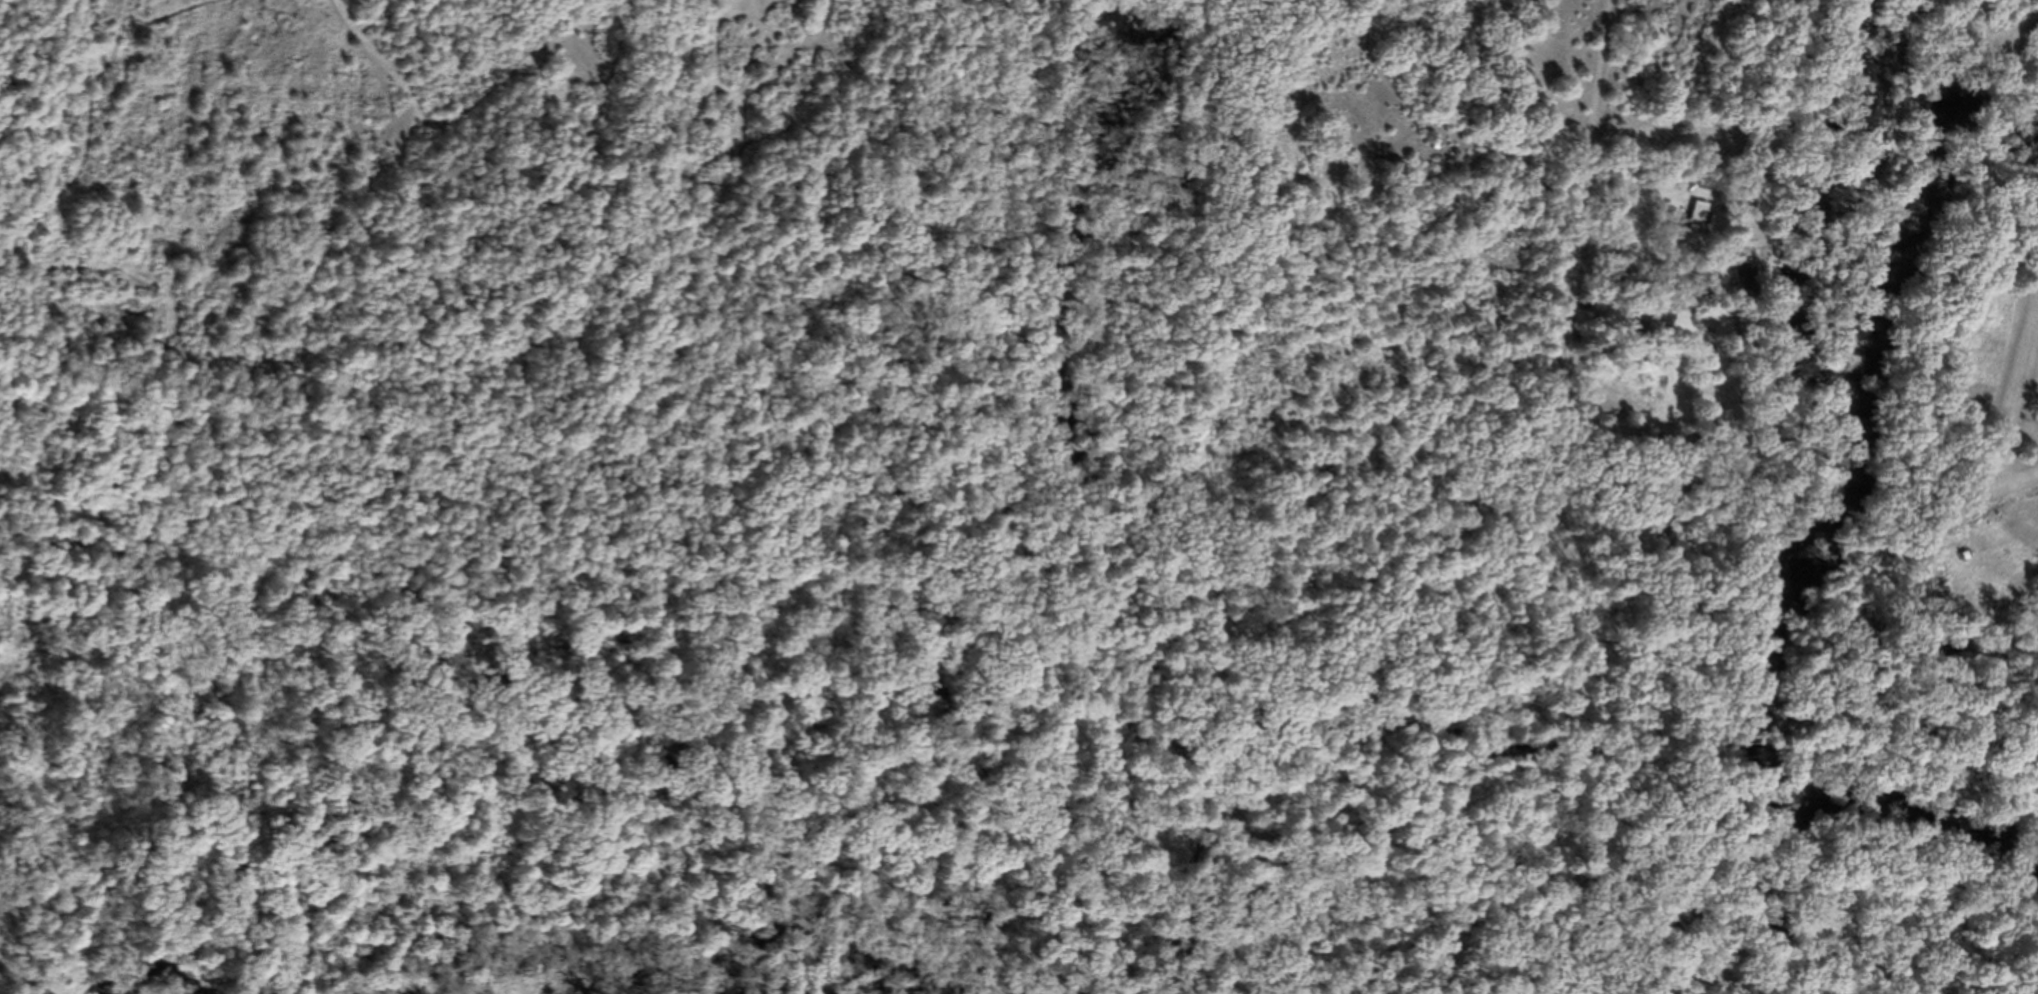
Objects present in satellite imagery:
building: (1736, 336)
building: (1715, 423)
road: (1548, 515)
road: (1244, 820)

